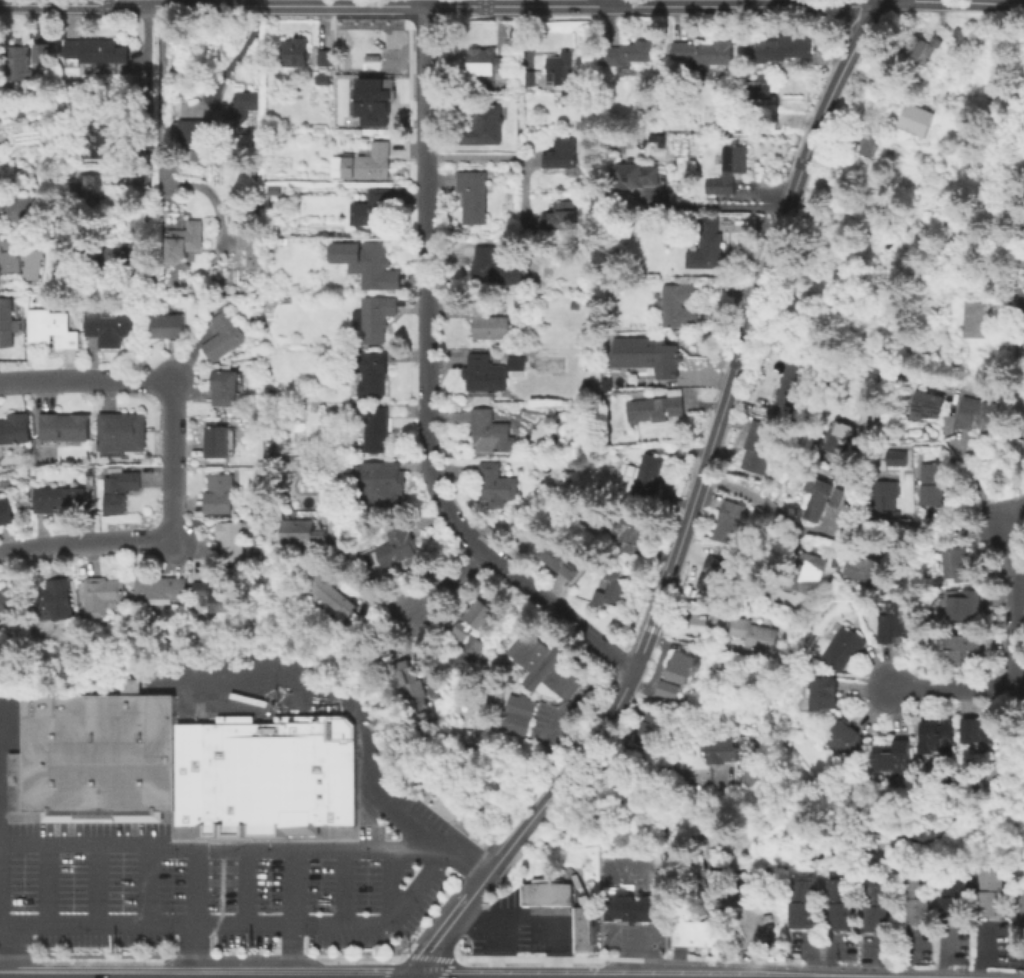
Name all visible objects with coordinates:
road: (877, 0)
road: (193, 2)
road: (610, 2)
road: (212, 4)
road: (724, 4)
road: (155, 9)
building: (963, 35)
building: (45, 47)
building: (921, 47)
building: (296, 48)
building: (785, 48)
building: (96, 50)
building: (371, 51)
building: (704, 51)
building: (627, 52)
building: (324, 55)
road: (230, 58)
building: (485, 61)
building: (18, 62)
building: (526, 76)
building: (563, 76)
building: (322, 77)
road: (146, 87)
building: (760, 88)
road: (425, 90)
building: (372, 100)
building: (242, 106)
building: (913, 119)
building: (483, 125)
building: (191, 130)
building: (99, 134)
road: (163, 142)
building: (865, 143)
building: (890, 150)
building: (561, 154)
building: (196, 155)
road: (480, 156)
building: (368, 162)
building: (727, 169)
building: (73, 170)
building: (635, 171)
road: (128, 179)
building: (680, 185)
building: (275, 187)
building: (89, 189)
road: (168, 189)
building: (473, 195)
road: (719, 206)
building: (24, 207)
building: (372, 207)
building: (561, 215)
building: (185, 241)
building: (706, 245)
building: (252, 246)
building: (21, 258)
building: (368, 260)
building: (495, 268)
building: (678, 304)
road: (751, 309)
building: (376, 316)
building: (978, 316)
building: (488, 321)
building: (6, 322)
building: (167, 325)
building: (109, 326)
building: (51, 328)
building: (223, 336)
building: (650, 352)
building: (515, 363)
building: (225, 366)
building: (792, 371)
building: (370, 372)
building: (485, 374)
road: (83, 380)
building: (224, 386)
building: (786, 398)
building: (928, 404)
building: (657, 406)
building: (977, 414)
building: (868, 424)
building: (65, 425)
building: (15, 426)
building: (376, 429)
building: (122, 430)
building: (488, 430)
building: (838, 436)
road: (950, 437)
building: (216, 441)
building: (1023, 444)
building: (759, 445)
road: (174, 459)
building: (1022, 459)
building: (255, 463)
road: (428, 468)
building: (292, 473)
building: (645, 475)
building: (373, 480)
building: (933, 483)
building: (495, 484)
building: (119, 489)
building: (219, 493)
building: (57, 497)
building: (817, 497)
building: (836, 497)
building: (885, 503)
building: (5, 510)
road: (1011, 514)
building: (732, 520)
road: (789, 524)
road: (945, 526)
building: (627, 531)
building: (302, 533)
building: (233, 539)
road: (85, 542)
building: (396, 545)
building: (560, 557)
building: (957, 564)
building: (864, 568)
building: (808, 572)
building: (709, 574)
road: (447, 582)
road: (1022, 583)
building: (160, 587)
building: (610, 587)
building: (101, 595)
building: (329, 596)
building: (213, 597)
road: (1020, 598)
building: (10, 600)
building: (53, 600)
building: (965, 604)
building: (856, 620)
building: (894, 620)
building: (754, 632)
building: (470, 634)
road: (675, 636)
building: (962, 645)
building: (843, 646)
road: (716, 647)
road: (640, 648)
road: (758, 658)
building: (543, 666)
building: (680, 666)
road: (797, 667)
road: (293, 675)
road: (847, 675)
building: (667, 688)
road: (958, 688)
building: (412, 690)
building: (824, 695)
building: (516, 714)
building: (647, 727)
building: (979, 729)
building: (938, 732)
road: (556, 736)
building: (844, 738)
building: (722, 749)
building: (96, 753)
building: (892, 757)
road: (569, 767)
road: (524, 773)
building: (263, 775)
building: (11, 781)
road: (221, 849)
parking lot: (230, 883)
road: (387, 884)
road: (46, 885)
road: (94, 885)
road: (145, 885)
road: (341, 885)
road: (292, 886)
road: (190, 887)
road: (244, 887)
building: (989, 891)
building: (545, 892)
building: (951, 895)
building: (914, 899)
road: (443, 901)
building: (799, 901)
building: (840, 902)
building: (877, 905)
road: (665, 906)
building: (635, 908)
road: (473, 916)
road: (450, 918)
road: (549, 922)
road: (244, 925)
building: (583, 928)
building: (693, 932)
road: (494, 948)
road: (4, 949)
road: (292, 950)
road: (191, 951)
road: (455, 951)
road: (980, 951)
road: (195, 955)
road: (429, 956)
road: (397, 959)
road: (641, 960)
road: (740, 963)
road: (445, 968)
road: (385, 969)

